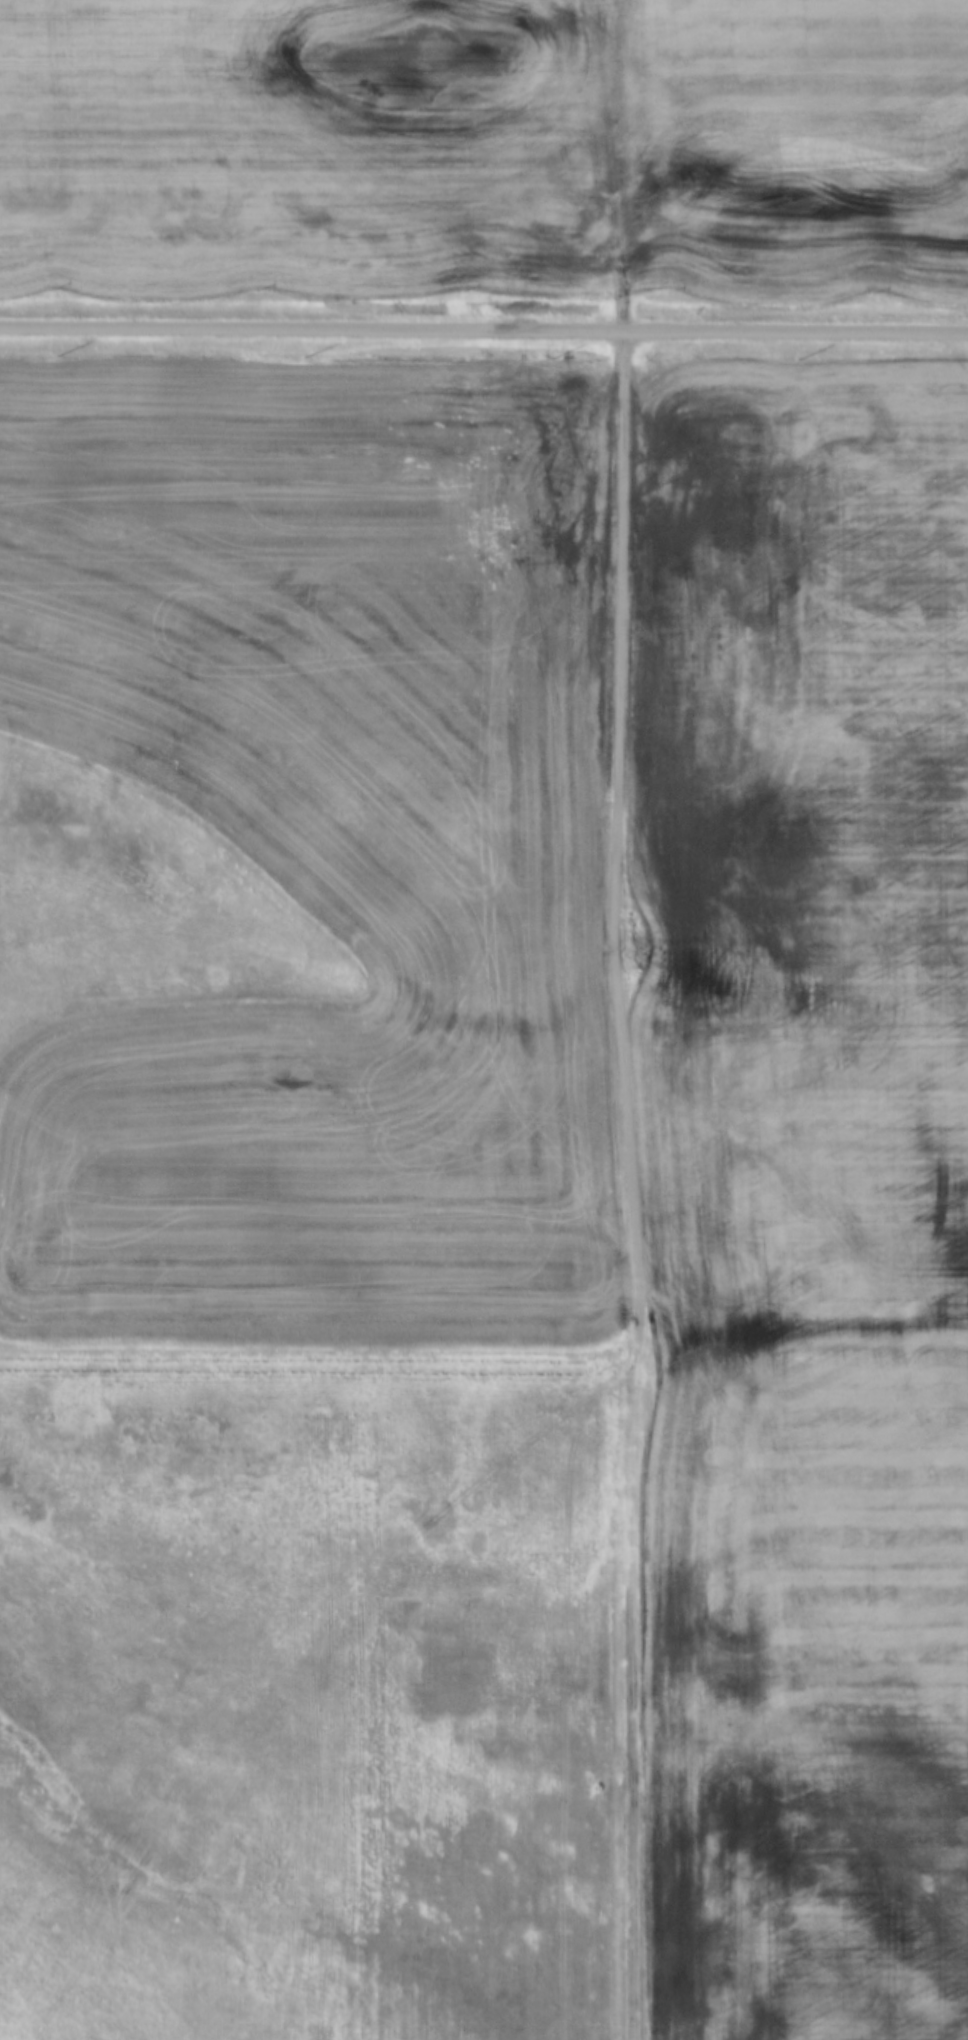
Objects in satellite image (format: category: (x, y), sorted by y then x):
road: (617, 162)
road: (483, 324)
road: (616, 1182)

